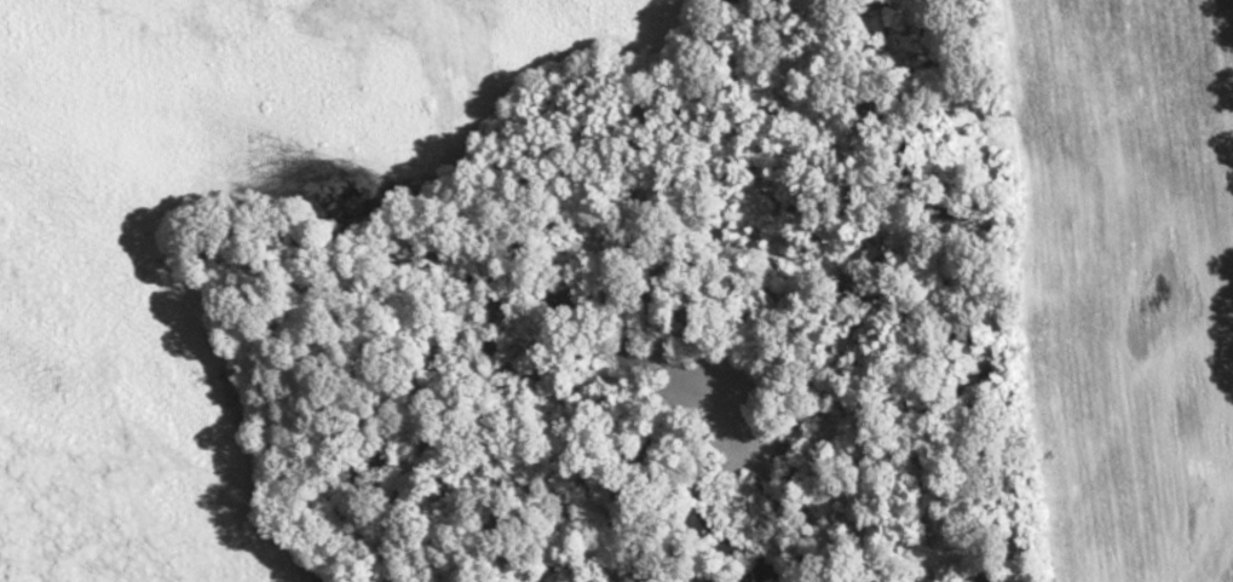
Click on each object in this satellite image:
crop: (231, 225)
crop: (1124, 275)

